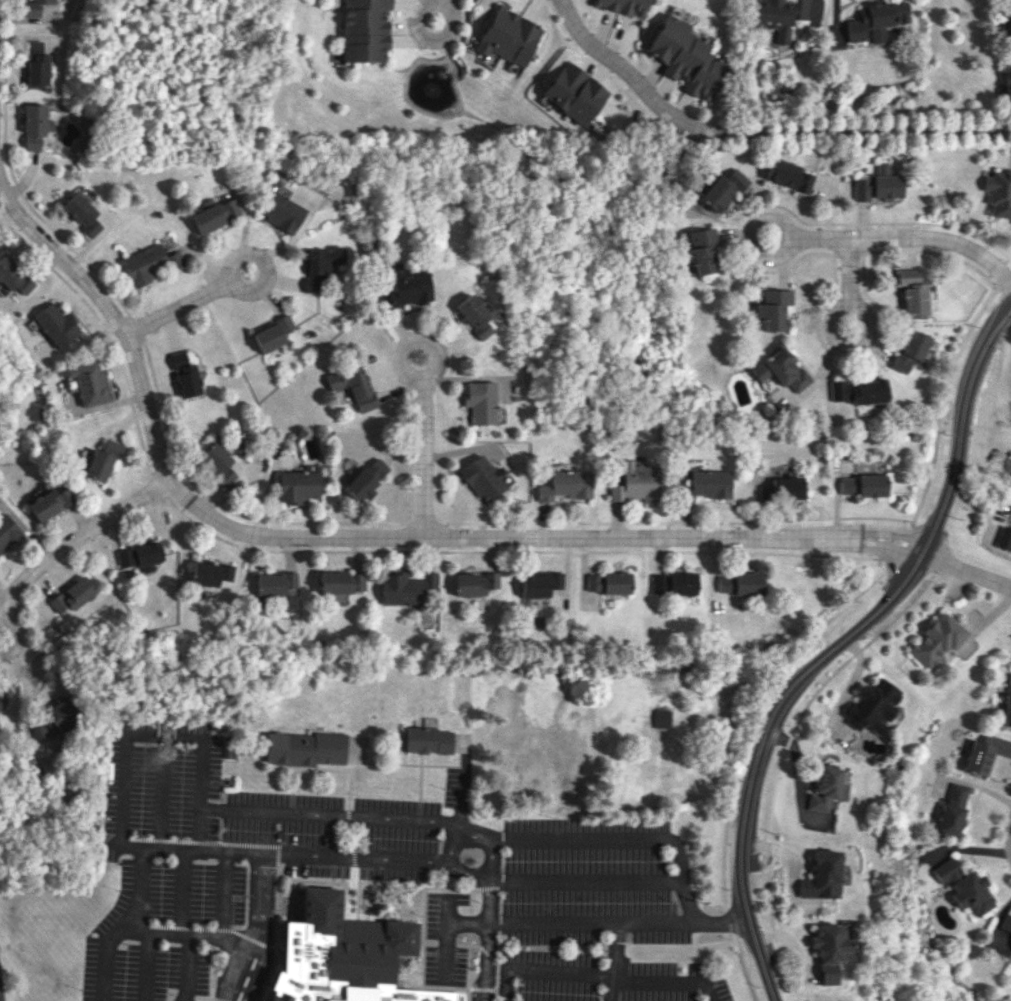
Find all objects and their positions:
building: (625, 6)
road: (817, 6)
building: (36, 7)
building: (773, 16)
building: (876, 20)
building: (1009, 27)
building: (363, 30)
building: (508, 36)
road: (428, 38)
building: (685, 56)
building: (489, 59)
building: (37, 64)
building: (1007, 86)
building: (574, 95)
building: (36, 125)
road: (759, 131)
building: (789, 176)
building: (878, 185)
building: (722, 190)
building: (998, 192)
building: (281, 211)
building: (82, 213)
building: (215, 215)
road: (906, 237)
road: (748, 244)
building: (168, 245)
building: (700, 250)
building: (150, 264)
building: (320, 267)
road: (849, 267)
road: (268, 269)
building: (13, 276)
road: (1005, 279)
building: (405, 286)
building: (914, 294)
road: (178, 306)
building: (774, 309)
building: (471, 314)
building: (54, 324)
building: (273, 334)
road: (858, 340)
road: (409, 341)
building: (909, 350)
building: (782, 373)
building: (185, 375)
building: (86, 381)
building: (353, 386)
building: (859, 391)
road: (942, 398)
building: (479, 402)
building: (1007, 412)
road: (423, 456)
building: (101, 460)
building: (219, 462)
building: (367, 478)
building: (480, 479)
building: (634, 483)
building: (710, 483)
building: (564, 485)
building: (862, 485)
building: (299, 486)
building: (784, 489)
building: (48, 503)
building: (7, 531)
road: (79, 536)
road: (362, 536)
building: (1005, 536)
road: (904, 548)
building: (140, 556)
road: (965, 571)
building: (211, 573)
building: (343, 582)
building: (608, 582)
building: (475, 583)
building: (540, 583)
building: (683, 583)
building: (741, 583)
building: (272, 587)
building: (408, 588)
building: (75, 594)
building: (535, 602)
road: (20, 633)
building: (935, 639)
road: (837, 645)
road: (25, 699)
building: (1007, 701)
building: (871, 705)
building: (2, 706)
road: (747, 712)
building: (53, 719)
building: (428, 740)
building: (305, 748)
building: (984, 753)
building: (659, 761)
road: (201, 773)
building: (826, 788)
building: (953, 809)
road: (332, 815)
road: (621, 839)
road: (490, 849)
road: (208, 851)
parking lot: (395, 854)
road: (356, 858)
building: (822, 876)
road: (584, 880)
building: (966, 887)
road: (223, 895)
road: (489, 895)
road: (135, 901)
road: (729, 920)
road: (682, 921)
road: (552, 922)
building: (1006, 924)
road: (257, 929)
road: (444, 929)
road: (155, 932)
road: (189, 935)
building: (1010, 948)
building: (829, 950)
building: (344, 955)
road: (612, 961)
road: (485, 962)
road: (744, 966)
road: (667, 980)
road: (201, 997)
road: (217, 999)

